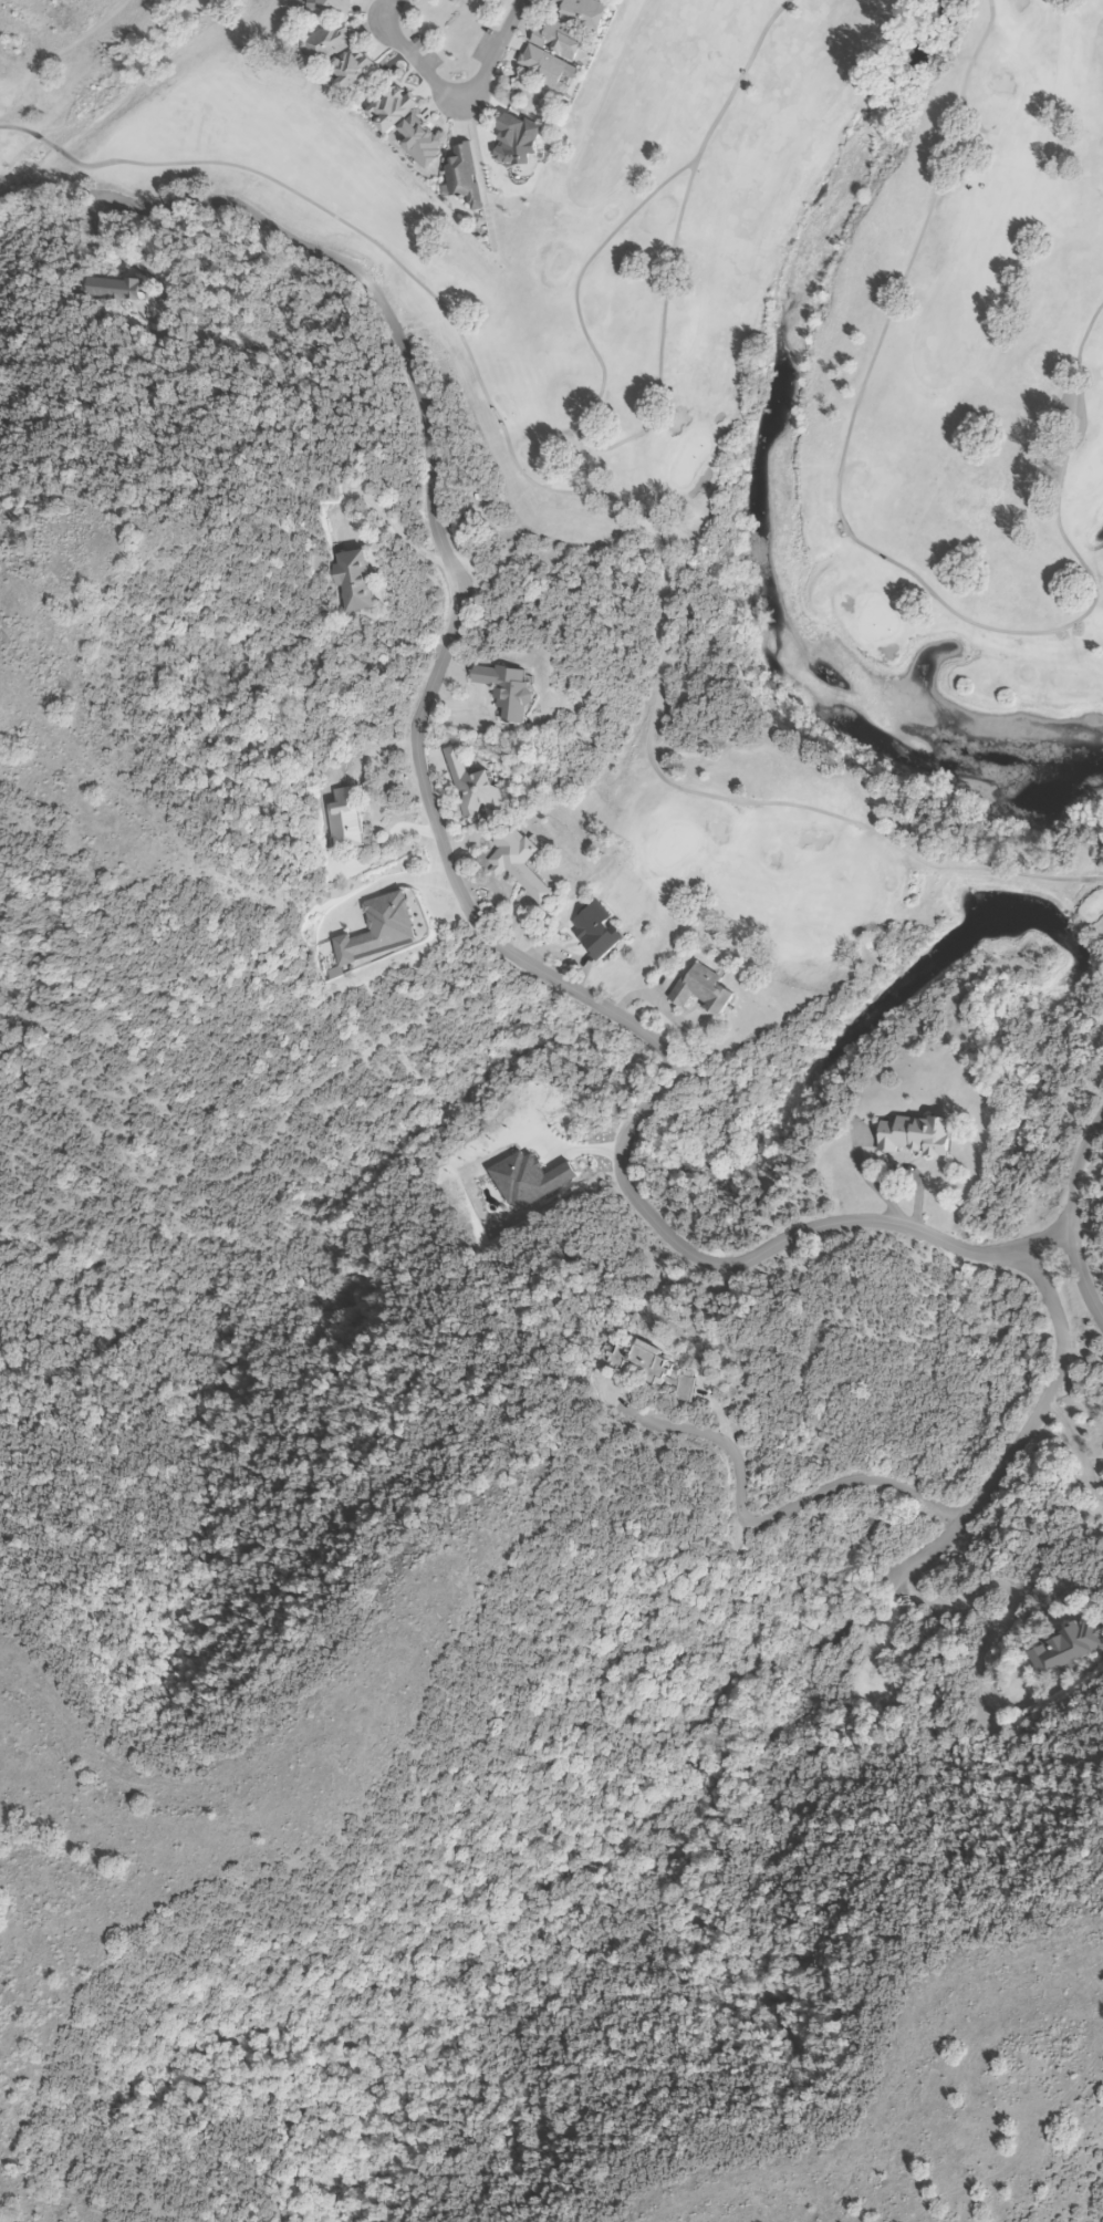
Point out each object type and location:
building: (330, 9)
building: (561, 42)
building: (337, 55)
road: (452, 97)
building: (405, 125)
building: (528, 138)
building: (464, 177)
building: (110, 290)
road: (384, 509)
building: (351, 581)
building: (504, 691)
building: (472, 788)
building: (343, 821)
road: (387, 841)
building: (518, 864)
building: (595, 931)
road: (489, 937)
building: (699, 990)
building: (911, 1136)
road: (1081, 1271)
building: (649, 1369)
road: (1026, 1433)
road: (1075, 1442)
road: (769, 1517)
road: (1010, 1611)
building: (1064, 1649)

